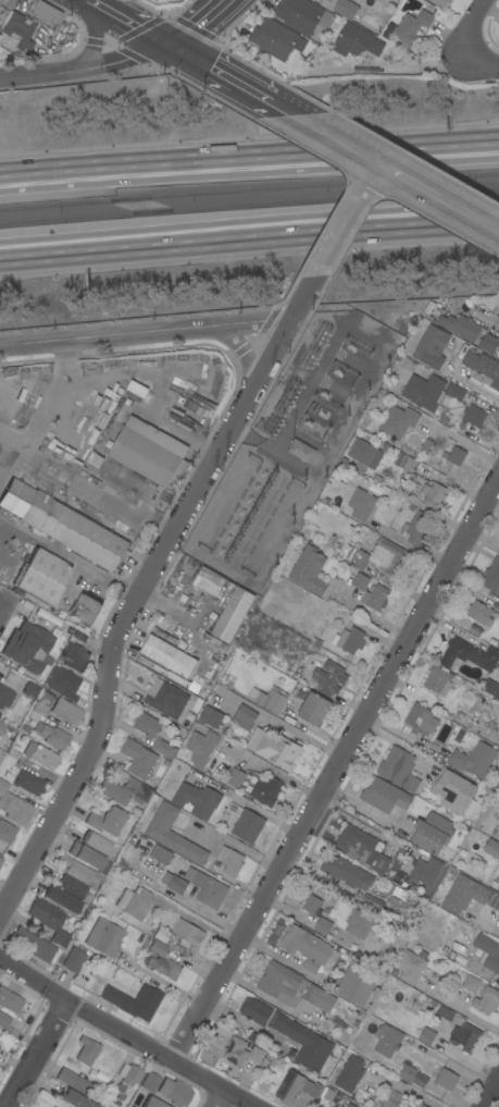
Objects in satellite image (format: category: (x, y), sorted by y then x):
road: (91, 0)
building: (0, 1)
building: (439, 4)
building: (340, 7)
building: (45, 14)
building: (303, 16)
road: (128, 22)
road: (196, 24)
building: (498, 25)
building: (410, 27)
road: (474, 32)
building: (17, 33)
building: (275, 39)
building: (355, 41)
road: (476, 62)
road: (84, 67)
road: (214, 70)
road: (280, 106)
road: (338, 138)
road: (249, 161)
railway: (249, 188)
road: (439, 195)
railway: (249, 204)
road: (349, 219)
road: (249, 230)
road: (305, 298)
building: (460, 327)
road: (147, 334)
building: (488, 343)
building: (431, 347)
road: (244, 353)
building: (483, 368)
road: (475, 386)
building: (135, 389)
building: (429, 392)
road: (45, 413)
building: (78, 414)
building: (474, 416)
building: (319, 418)
building: (398, 421)
building: (425, 445)
power substation: (291, 446)
building: (384, 447)
building: (300, 451)
building: (149, 453)
building: (362, 455)
building: (454, 455)
building: (399, 458)
building: (408, 464)
building: (416, 487)
road: (84, 489)
building: (432, 495)
building: (360, 504)
building: (73, 522)
building: (416, 528)
road: (408, 544)
building: (498, 552)
road: (68, 556)
building: (379, 556)
building: (309, 570)
building: (491, 576)
building: (42, 577)
building: (209, 581)
building: (360, 581)
building: (375, 598)
building: (85, 610)
road: (126, 612)
road: (3, 613)
building: (481, 613)
building: (232, 615)
road: (367, 616)
building: (474, 628)
building: (212, 639)
building: (349, 640)
building: (27, 647)
building: (167, 655)
building: (469, 655)
building: (74, 657)
building: (150, 663)
building: (328, 678)
building: (437, 680)
building: (62, 682)
building: (490, 688)
building: (30, 690)
building: (5, 697)
building: (260, 698)
building: (165, 699)
building: (275, 703)
building: (38, 709)
building: (313, 709)
building: (65, 712)
building: (210, 716)
building: (244, 717)
building: (420, 719)
road: (282, 723)
building: (146, 725)
building: (1, 726)
building: (8, 735)
building: (51, 736)
building: (163, 748)
building: (201, 748)
building: (273, 748)
building: (1, 754)
building: (40, 755)
building: (137, 759)
building: (474, 760)
road: (327, 764)
building: (398, 768)
building: (234, 777)
building: (28, 784)
building: (264, 790)
building: (125, 791)
building: (454, 792)
building: (384, 796)
building: (196, 800)
building: (14, 808)
building: (105, 821)
building: (247, 826)
building: (7, 832)
building: (431, 833)
building: (172, 835)
road: (228, 842)
building: (97, 844)
building: (361, 848)
building: (490, 849)
building: (160, 854)
building: (0, 858)
building: (89, 858)
building: (474, 859)
building: (229, 860)
building: (1, 861)
building: (79, 871)
building: (424, 871)
building: (346, 872)
building: (495, 877)
building: (174, 883)
building: (73, 888)
building: (205, 888)
building: (463, 895)
building: (61, 900)
building: (494, 901)
building: (134, 902)
building: (310, 906)
road: (191, 907)
building: (49, 920)
building: (358, 924)
building: (322, 926)
road: (496, 934)
building: (161, 935)
building: (185, 935)
building: (103, 938)
building: (35, 946)
building: (305, 947)
building: (157, 948)
building: (487, 952)
building: (74, 960)
building: (409, 967)
building: (164, 968)
building: (470, 985)
building: (355, 986)
building: (291, 987)
building: (486, 1000)
building: (10, 1001)
building: (132, 1003)
building: (254, 1011)
building: (444, 1013)
building: (3, 1021)
road: (124, 1036)
building: (426, 1036)
building: (464, 1036)
building: (386, 1040)
building: (304, 1044)
building: (86, 1050)
building: (235, 1054)
road: (36, 1055)
building: (255, 1055)
building: (349, 1073)
building: (407, 1073)
building: (65, 1077)
building: (127, 1079)
building: (446, 1079)
building: (419, 1080)
building: (150, 1083)
building: (291, 1087)
road: (409, 1088)
building: (315, 1090)
road: (489, 1091)
building: (174, 1092)
building: (327, 1094)
building: (73, 1099)
road: (219, 1099)
building: (150, 1103)
building: (388, 1104)
building: (349, 1105)
building: (58, 1106)
building: (59, 1106)
building: (423, 1106)

